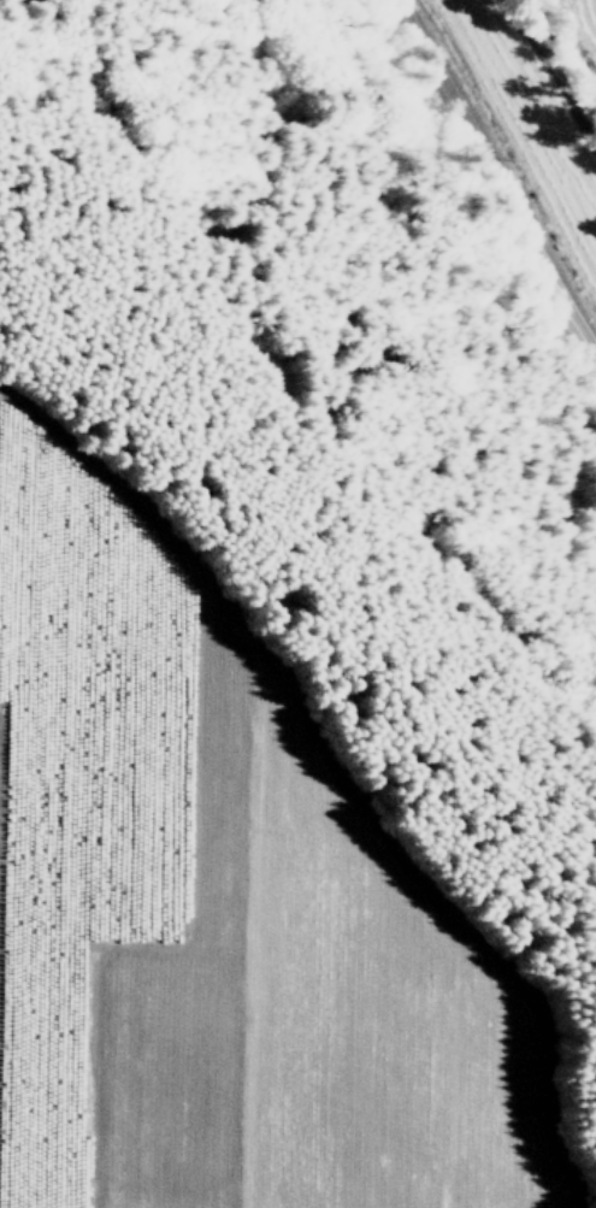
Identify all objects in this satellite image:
crop: (514, 76)
road: (497, 176)
road: (336, 774)
crop: (218, 977)

